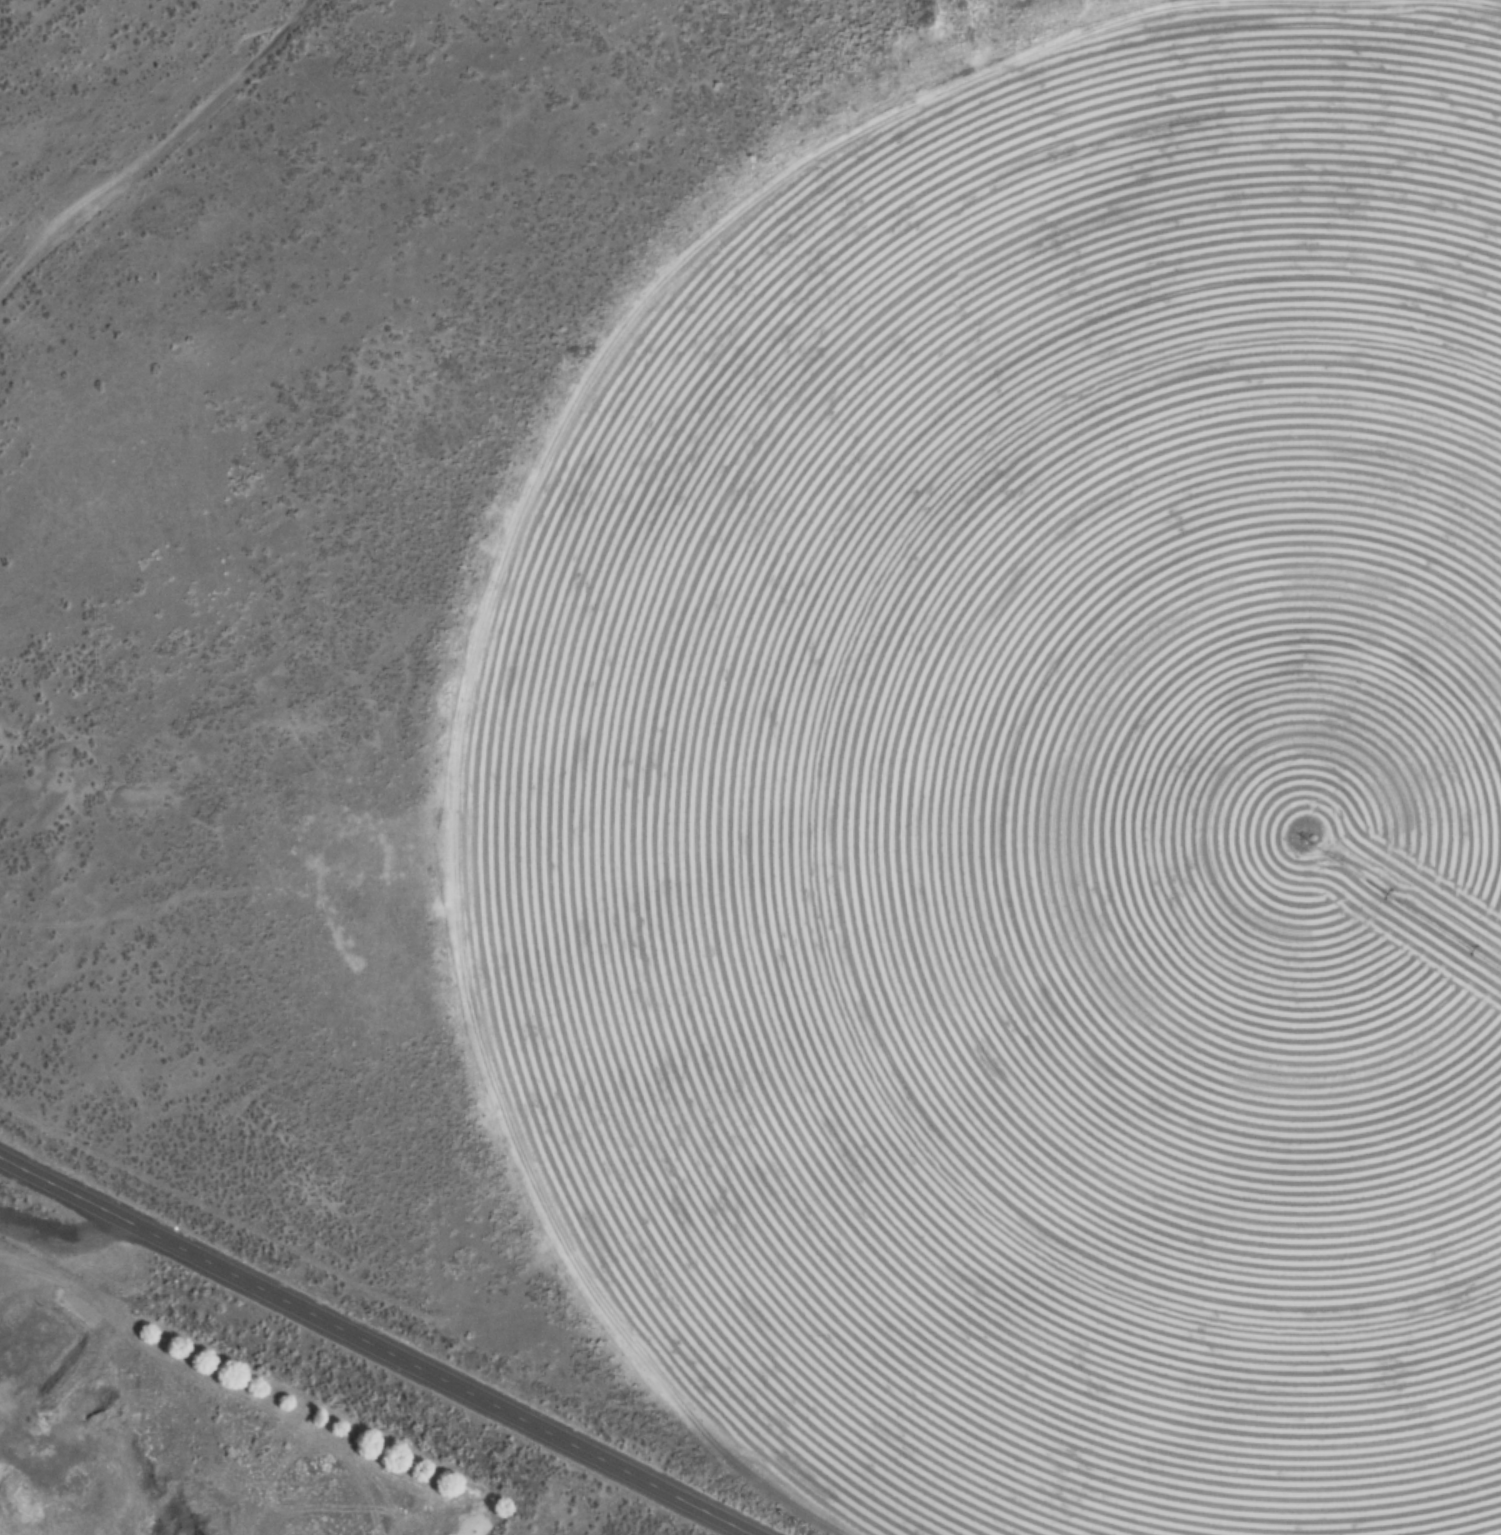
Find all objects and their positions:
crop: (1048, 803)
building: (751, 956)
building: (681, 1005)
road: (375, 1346)

